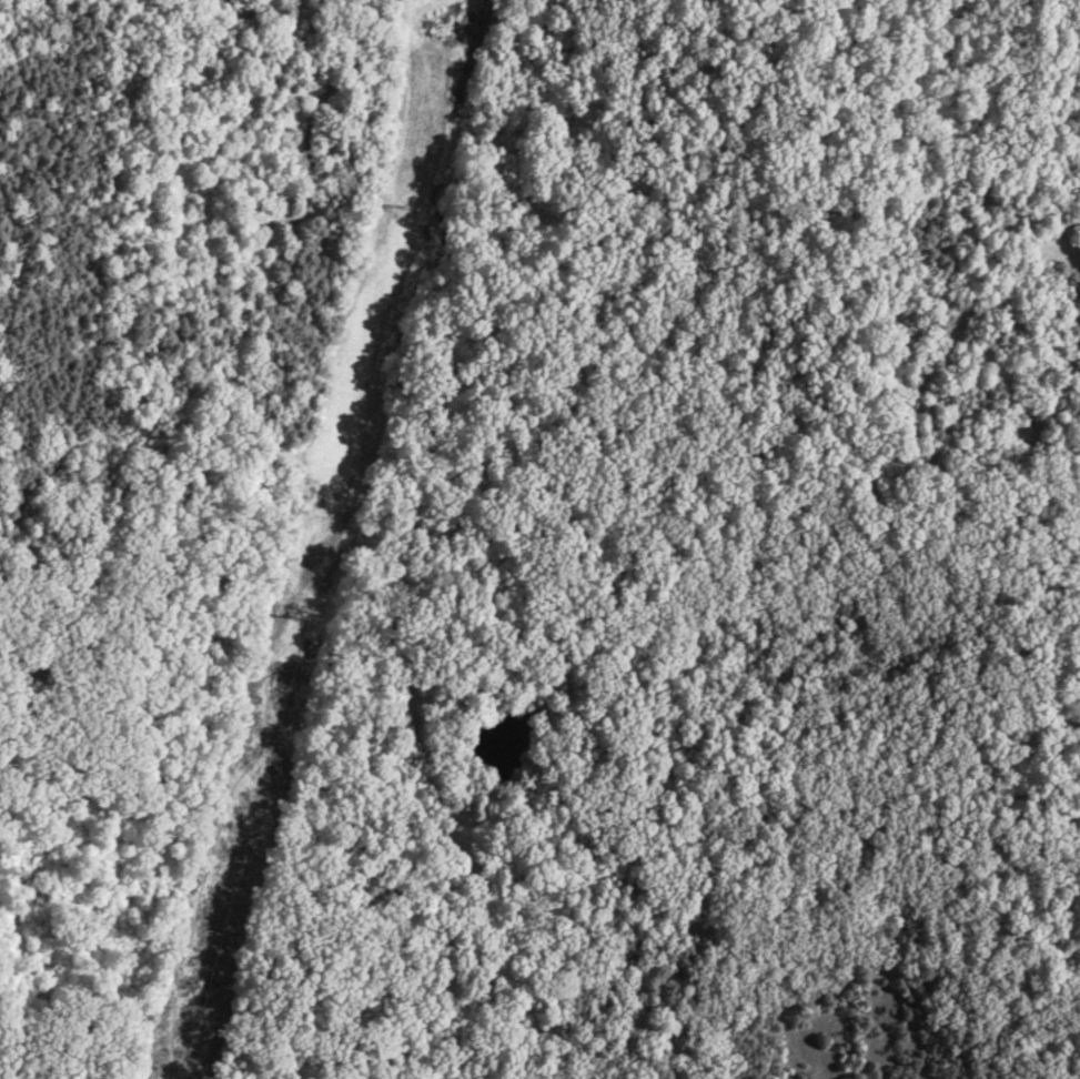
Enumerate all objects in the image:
power tower: (403, 201)
power tower: (291, 615)

